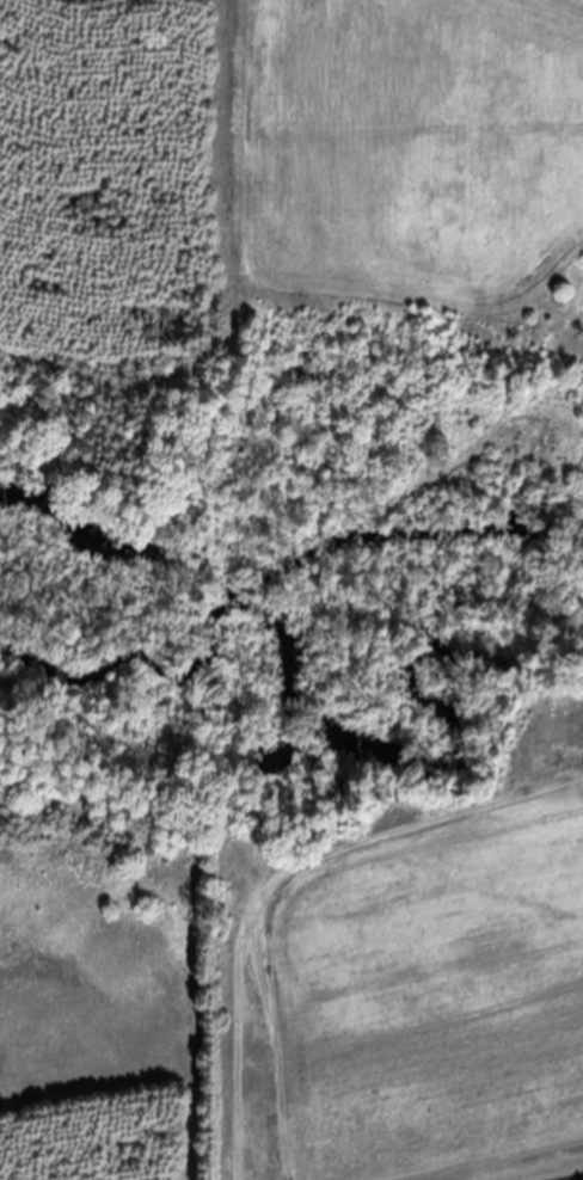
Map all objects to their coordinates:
road: (576, 1178)

